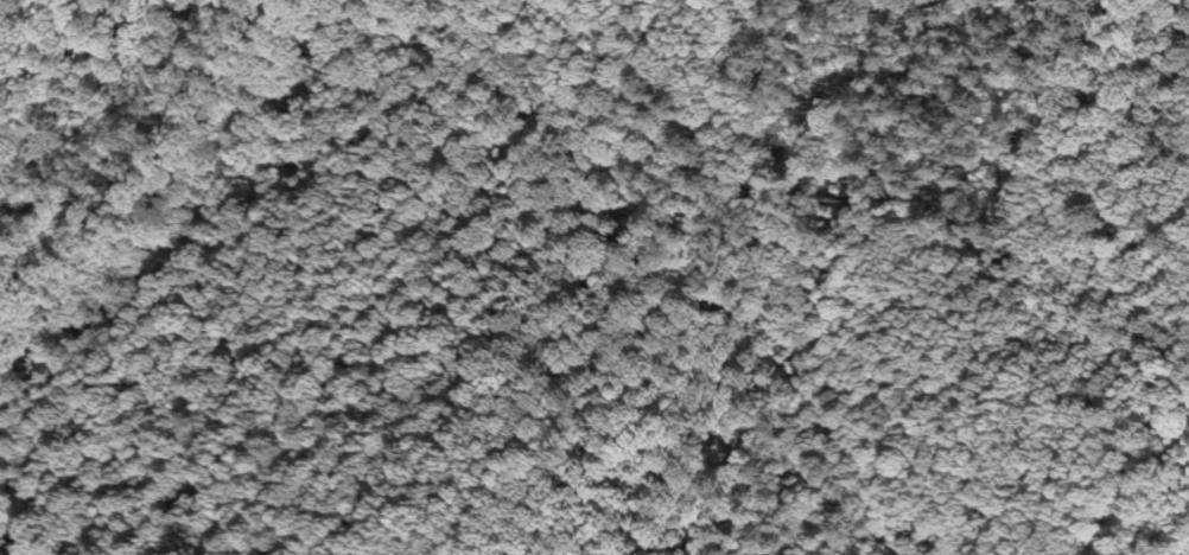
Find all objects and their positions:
road: (1062, 50)
road: (190, 141)

